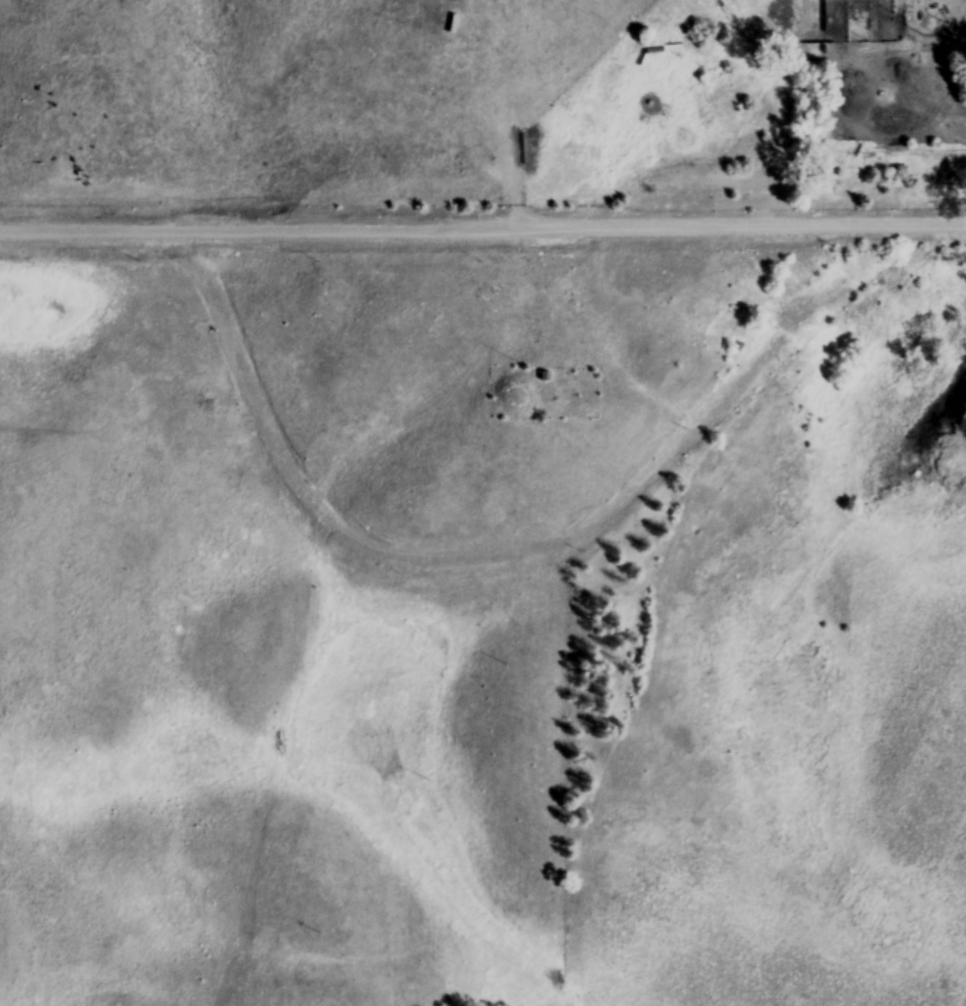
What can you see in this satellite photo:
building: (859, 0)
road: (483, 230)
building: (517, 399)

